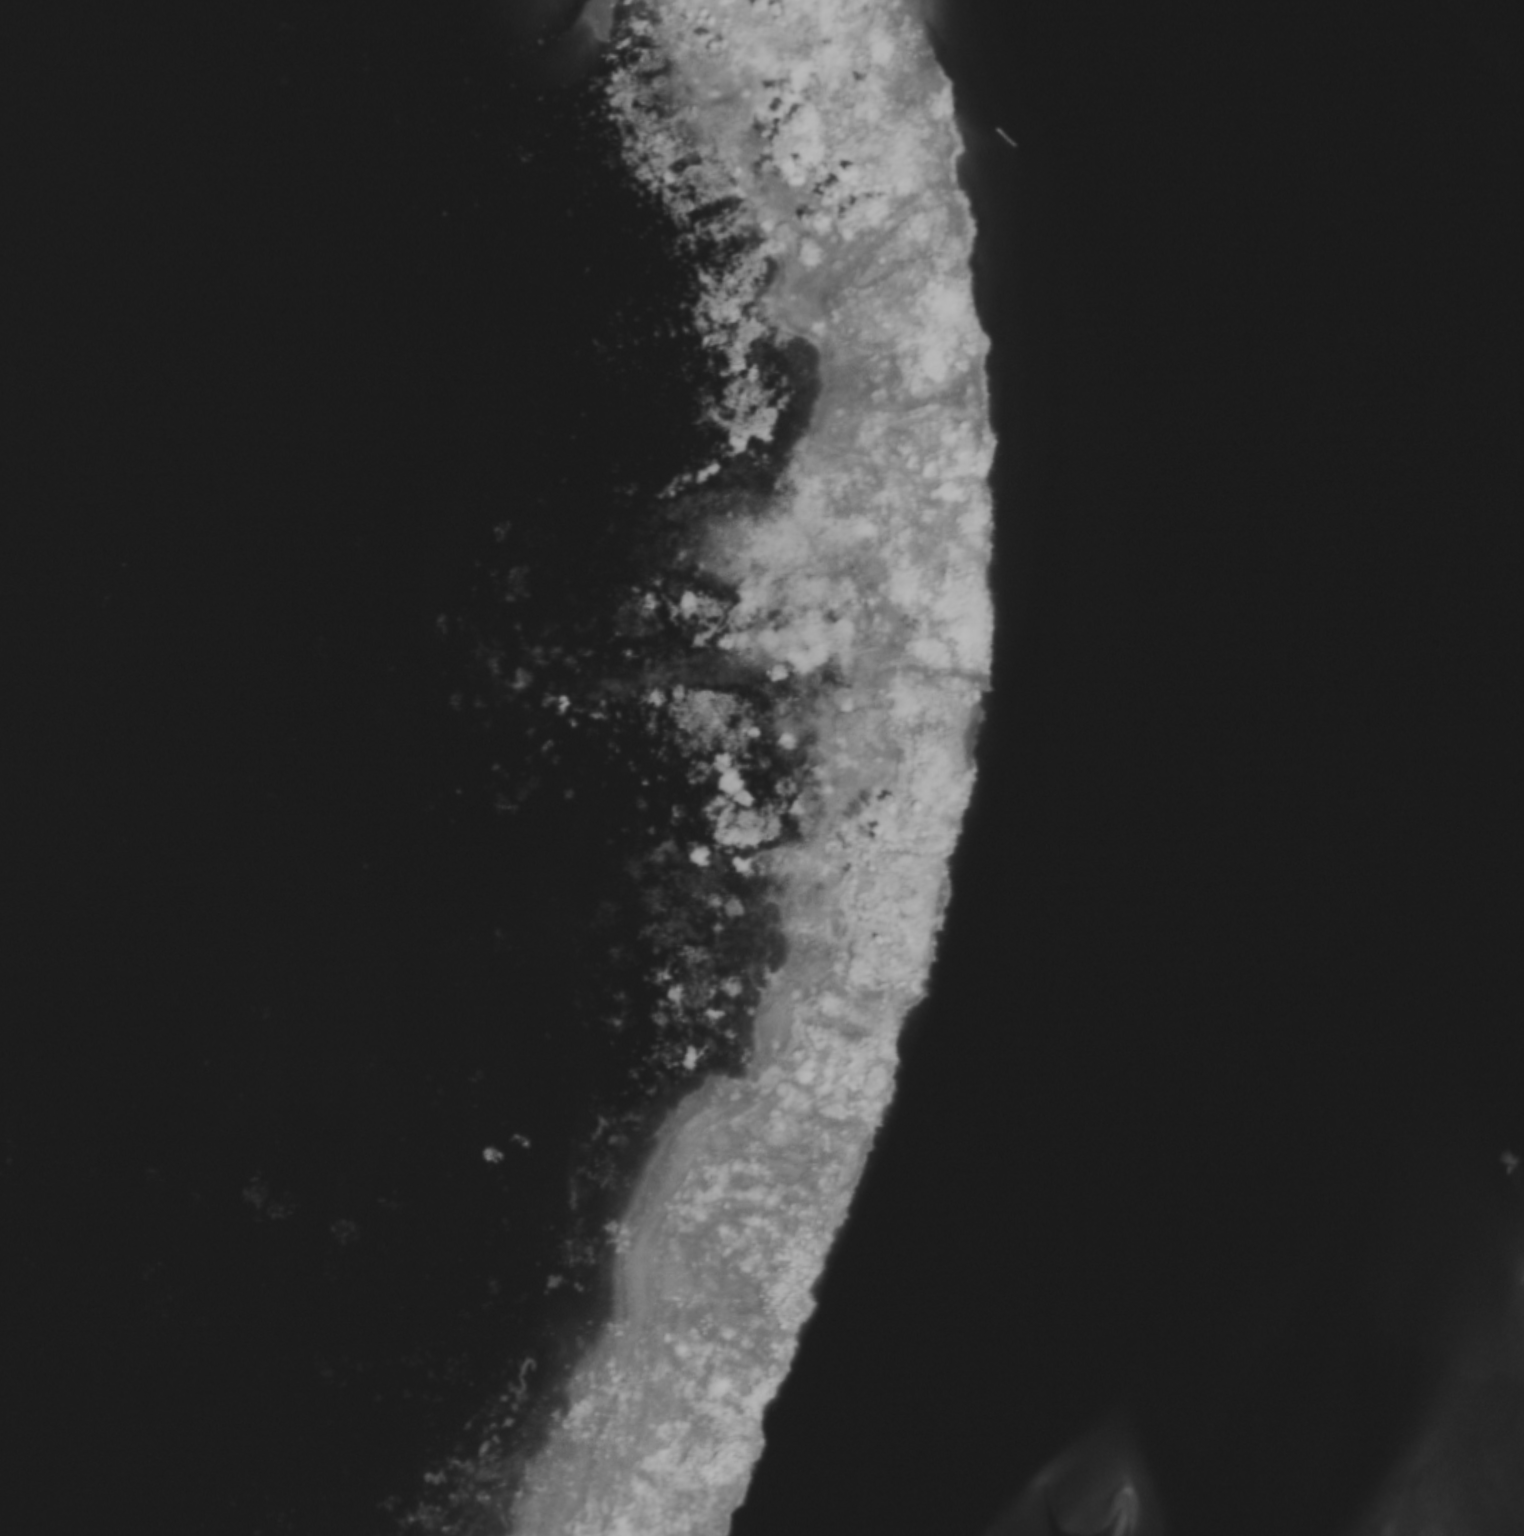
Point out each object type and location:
river: (1461, 786)

